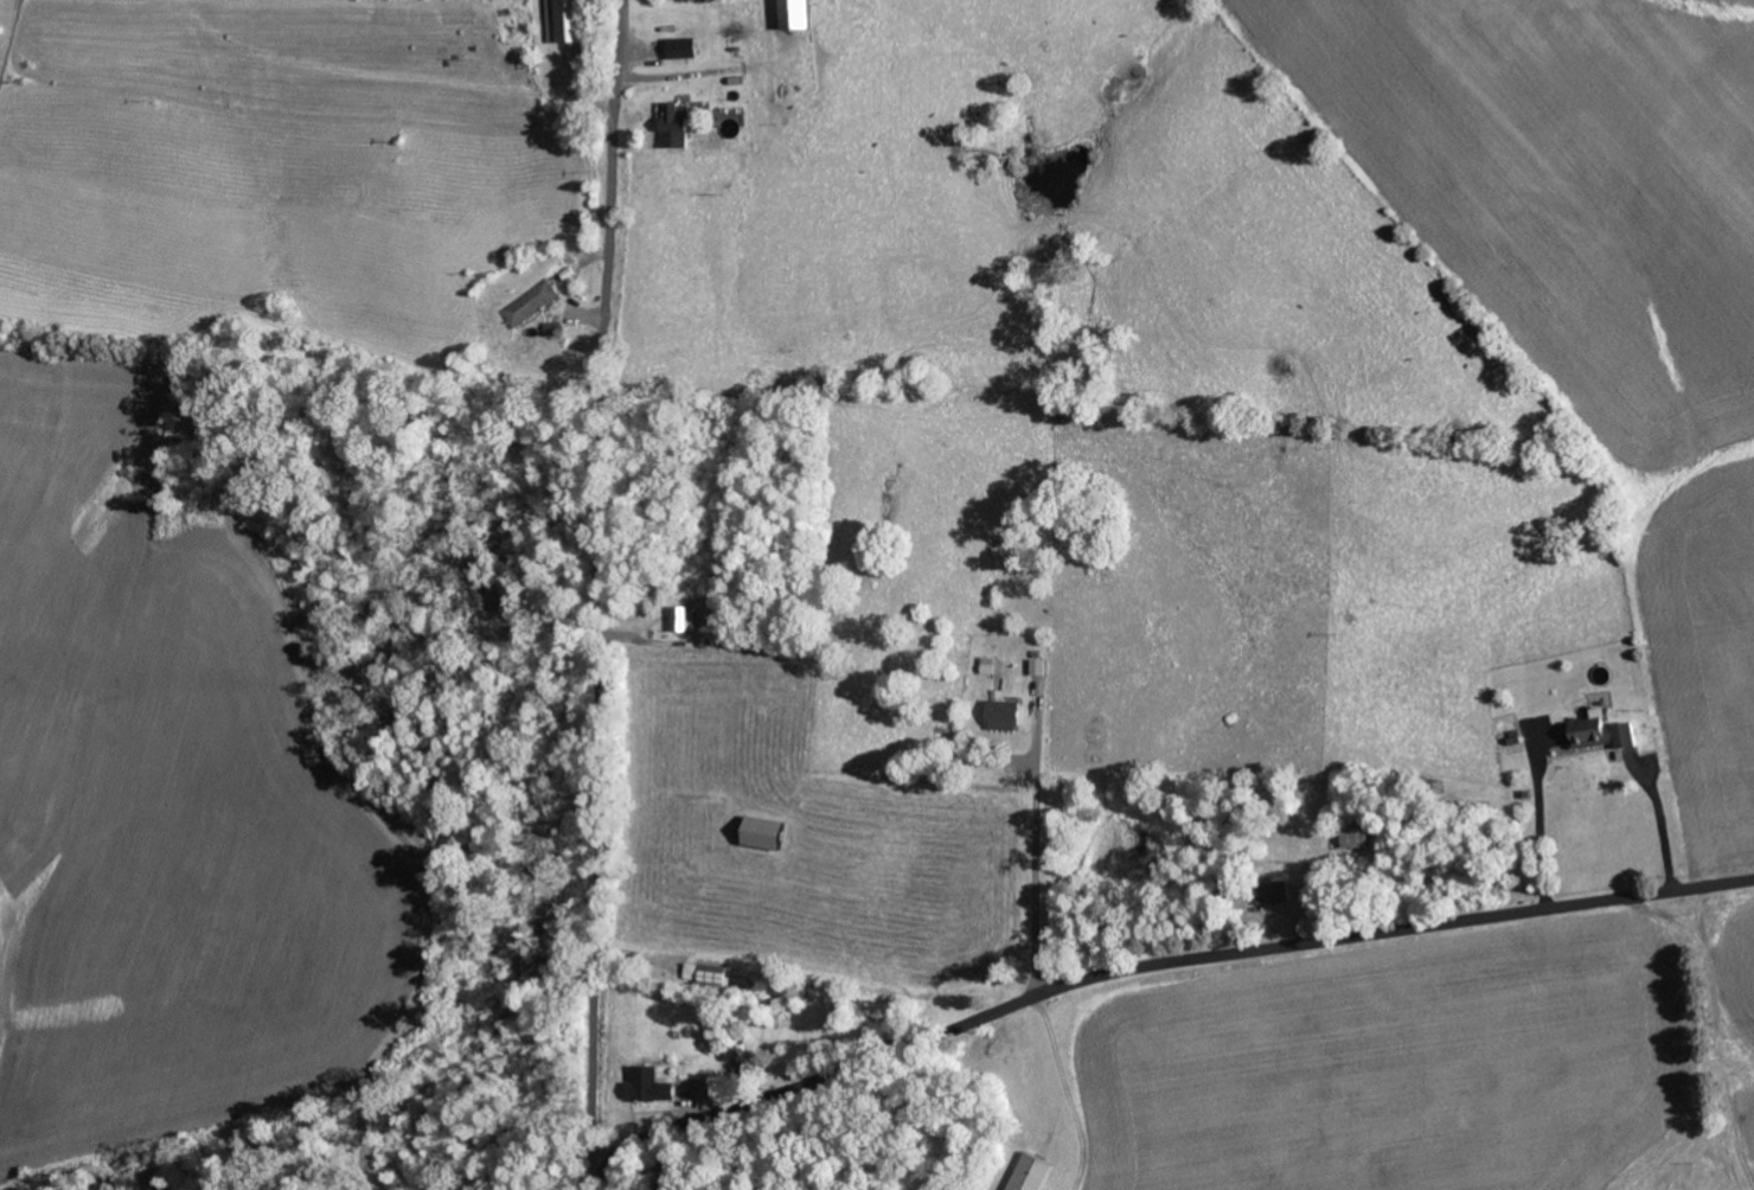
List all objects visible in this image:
building: (804, 14)
building: (570, 20)
building: (685, 47)
building: (680, 124)
building: (531, 303)
building: (555, 330)
road: (600, 587)
building: (988, 665)
building: (1041, 667)
building: (1007, 716)
building: (1606, 732)
building: (774, 832)
road: (1142, 967)
building: (710, 974)
building: (657, 1085)
building: (1035, 1172)

